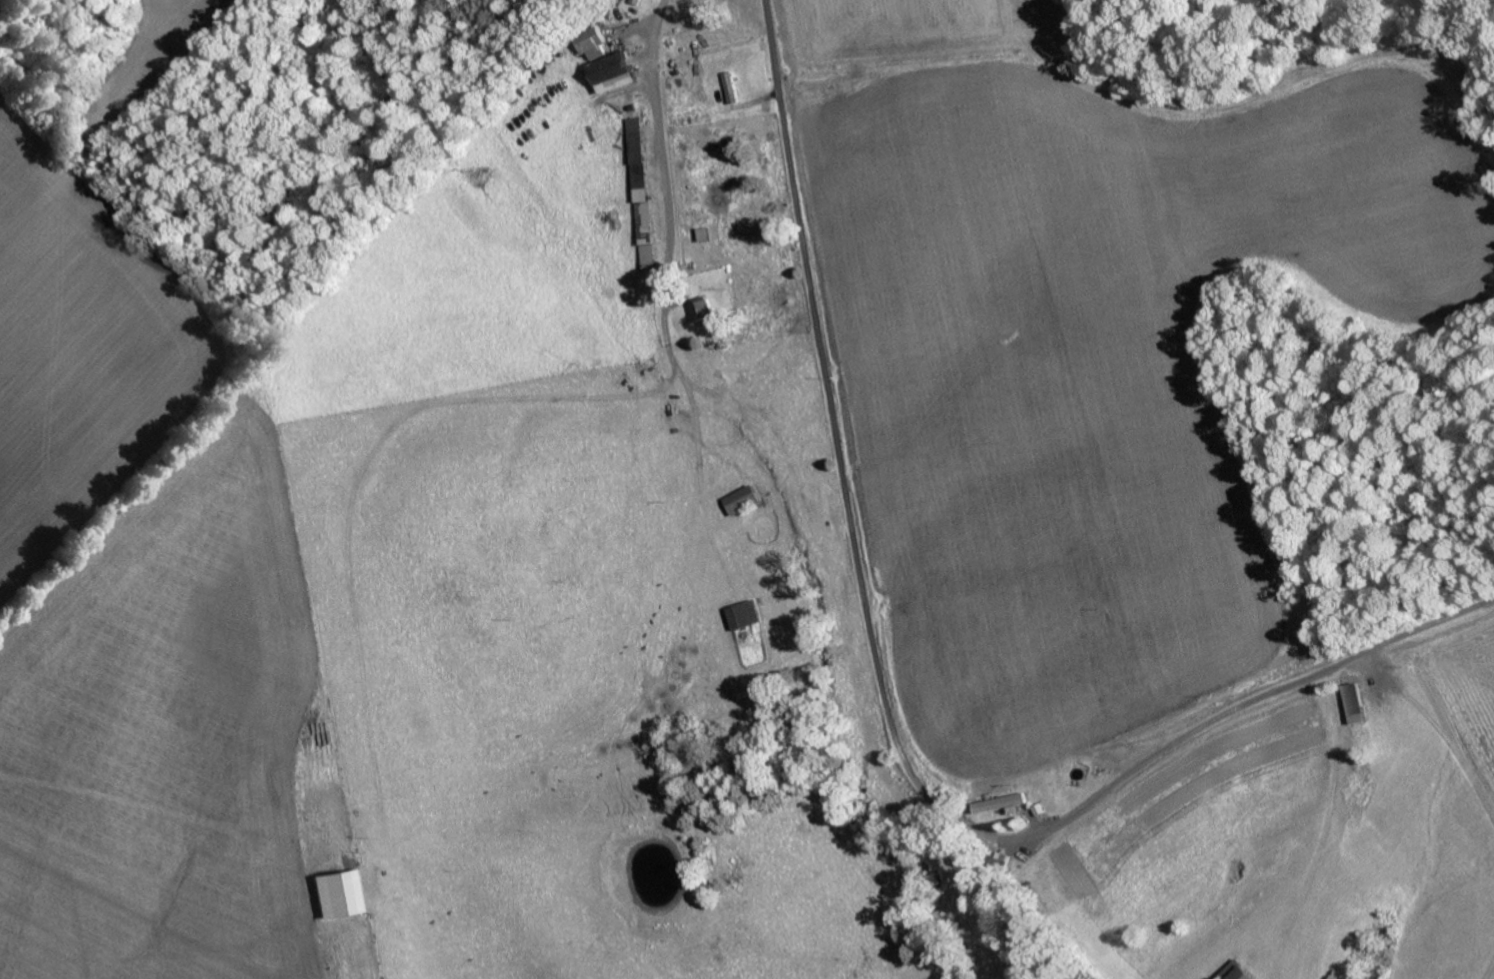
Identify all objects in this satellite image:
building: (596, 42)
building: (617, 72)
building: (644, 190)
building: (704, 309)
road: (829, 411)
building: (743, 499)
building: (746, 614)
building: (1355, 703)
building: (1001, 803)
building: (339, 894)
building: (1237, 971)

